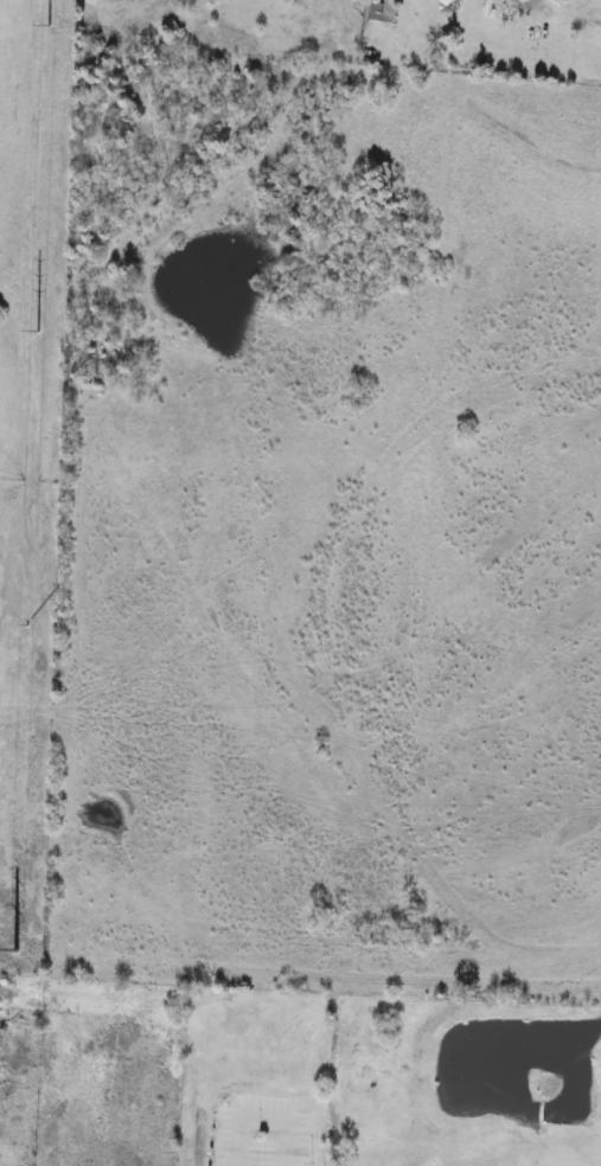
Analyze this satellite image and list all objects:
building: (376, 13)
road: (260, 1117)
parking lot: (261, 1134)

